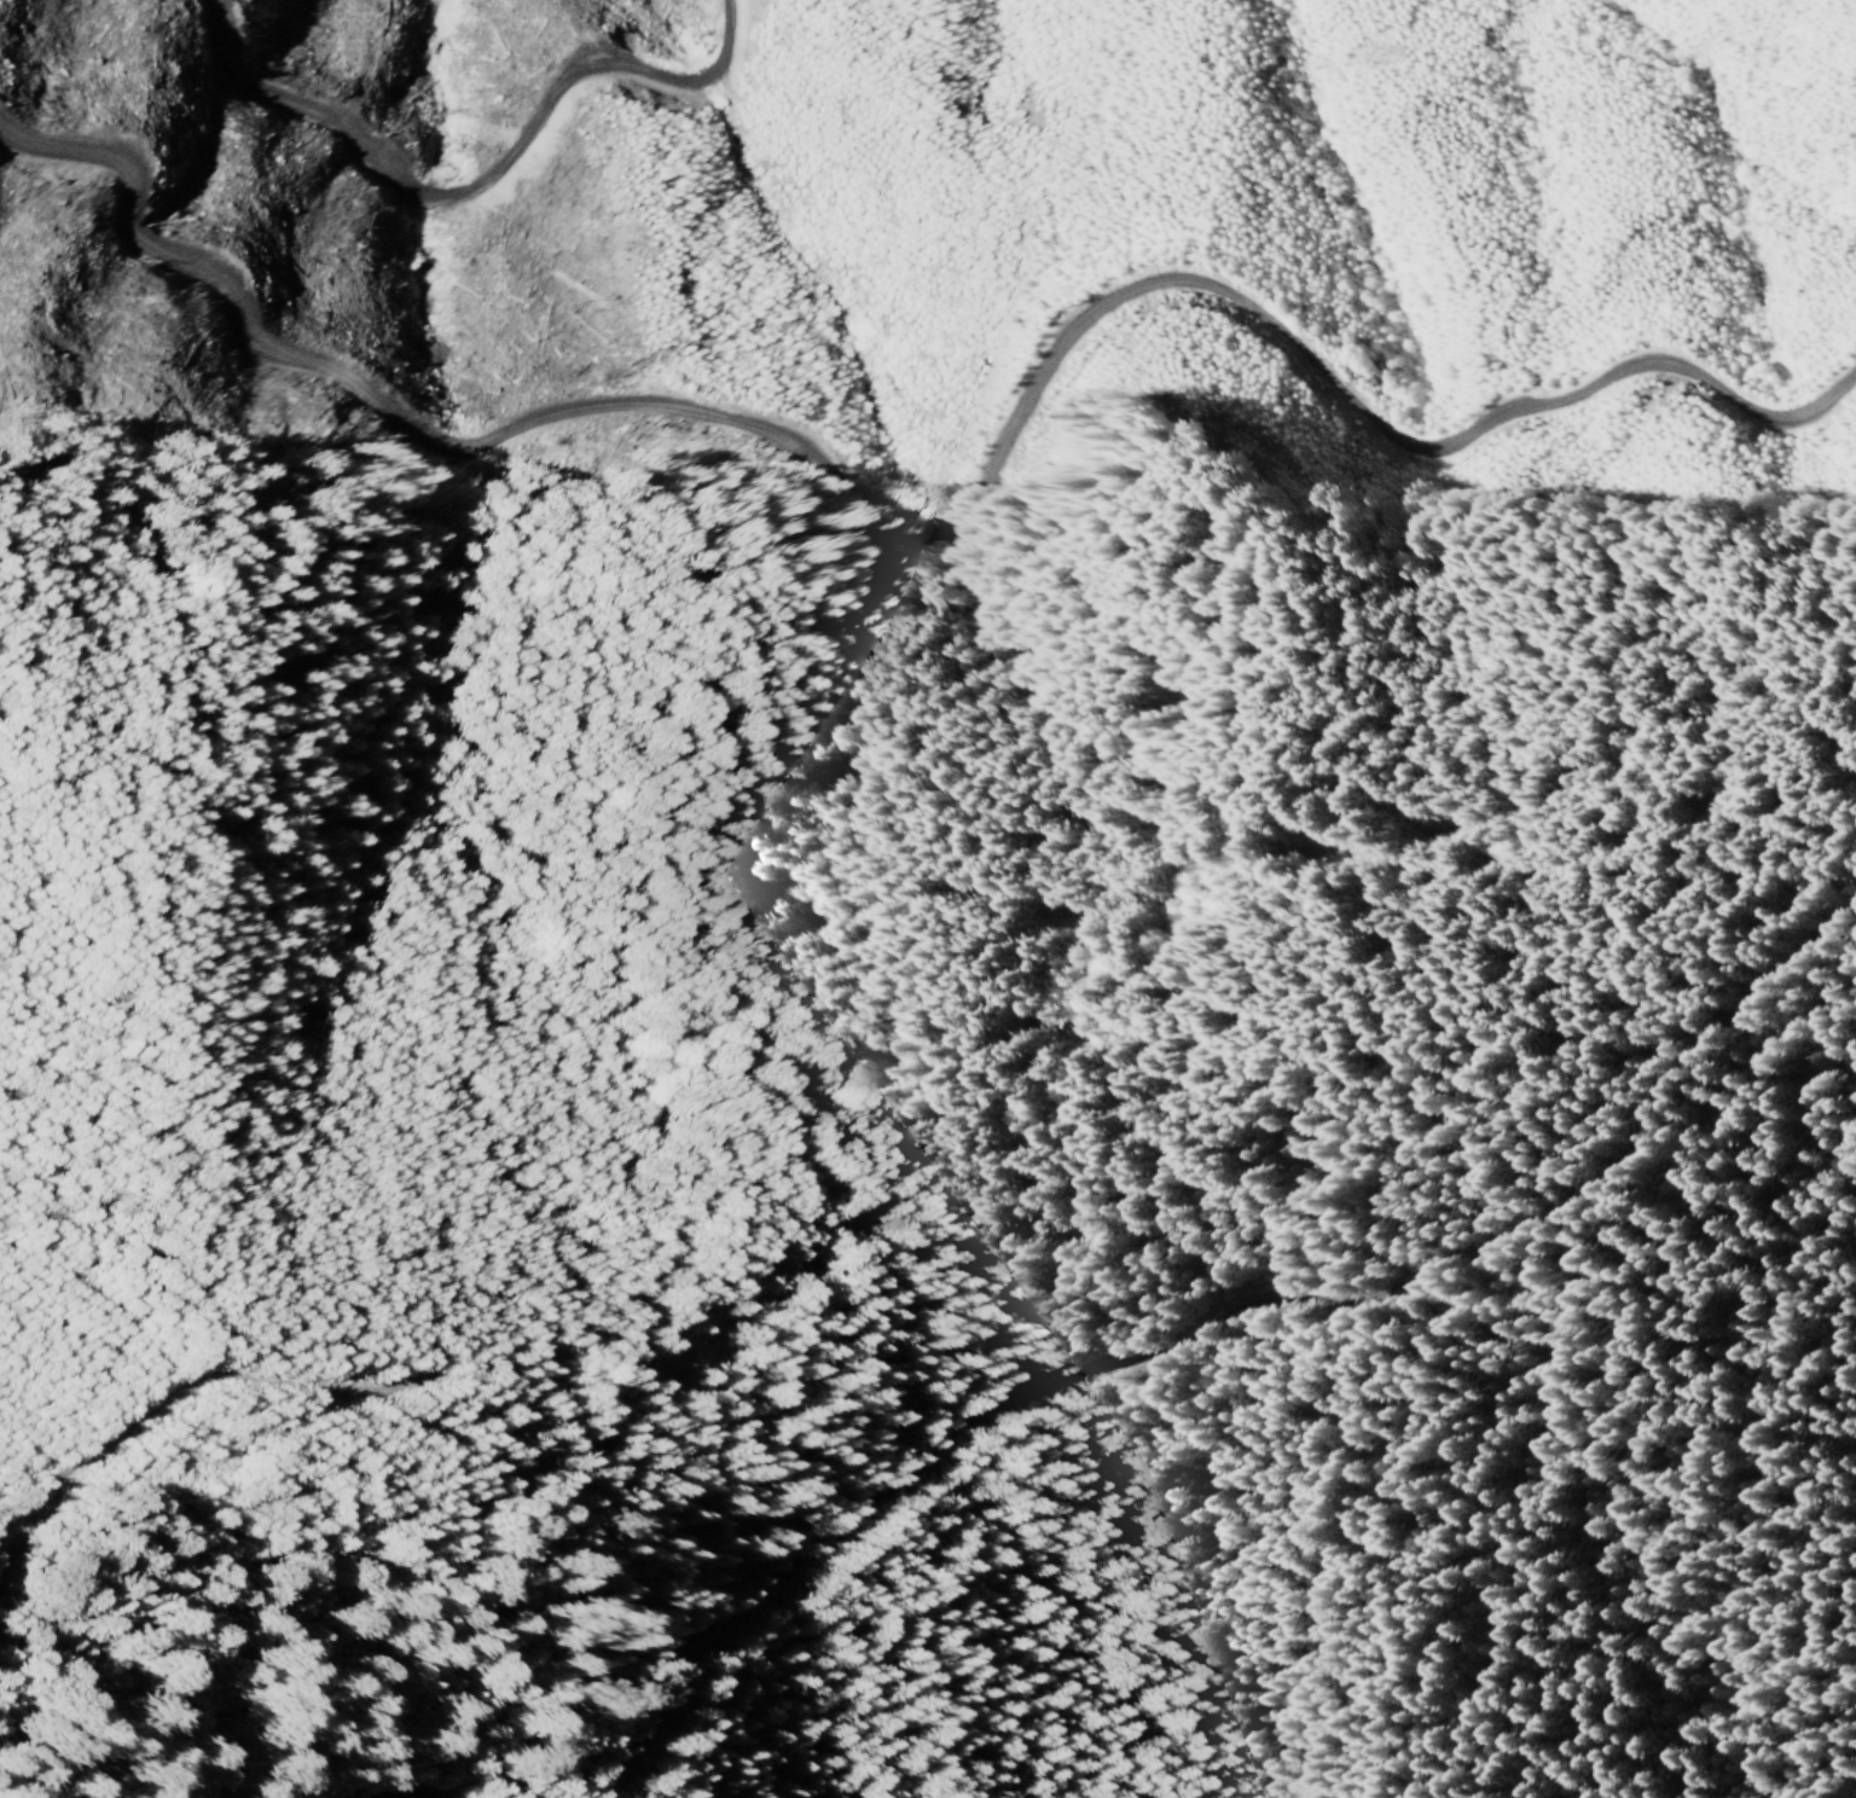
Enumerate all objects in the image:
road: (940, 523)
road: (1208, 1315)
road: (168, 1392)
road: (396, 1793)

